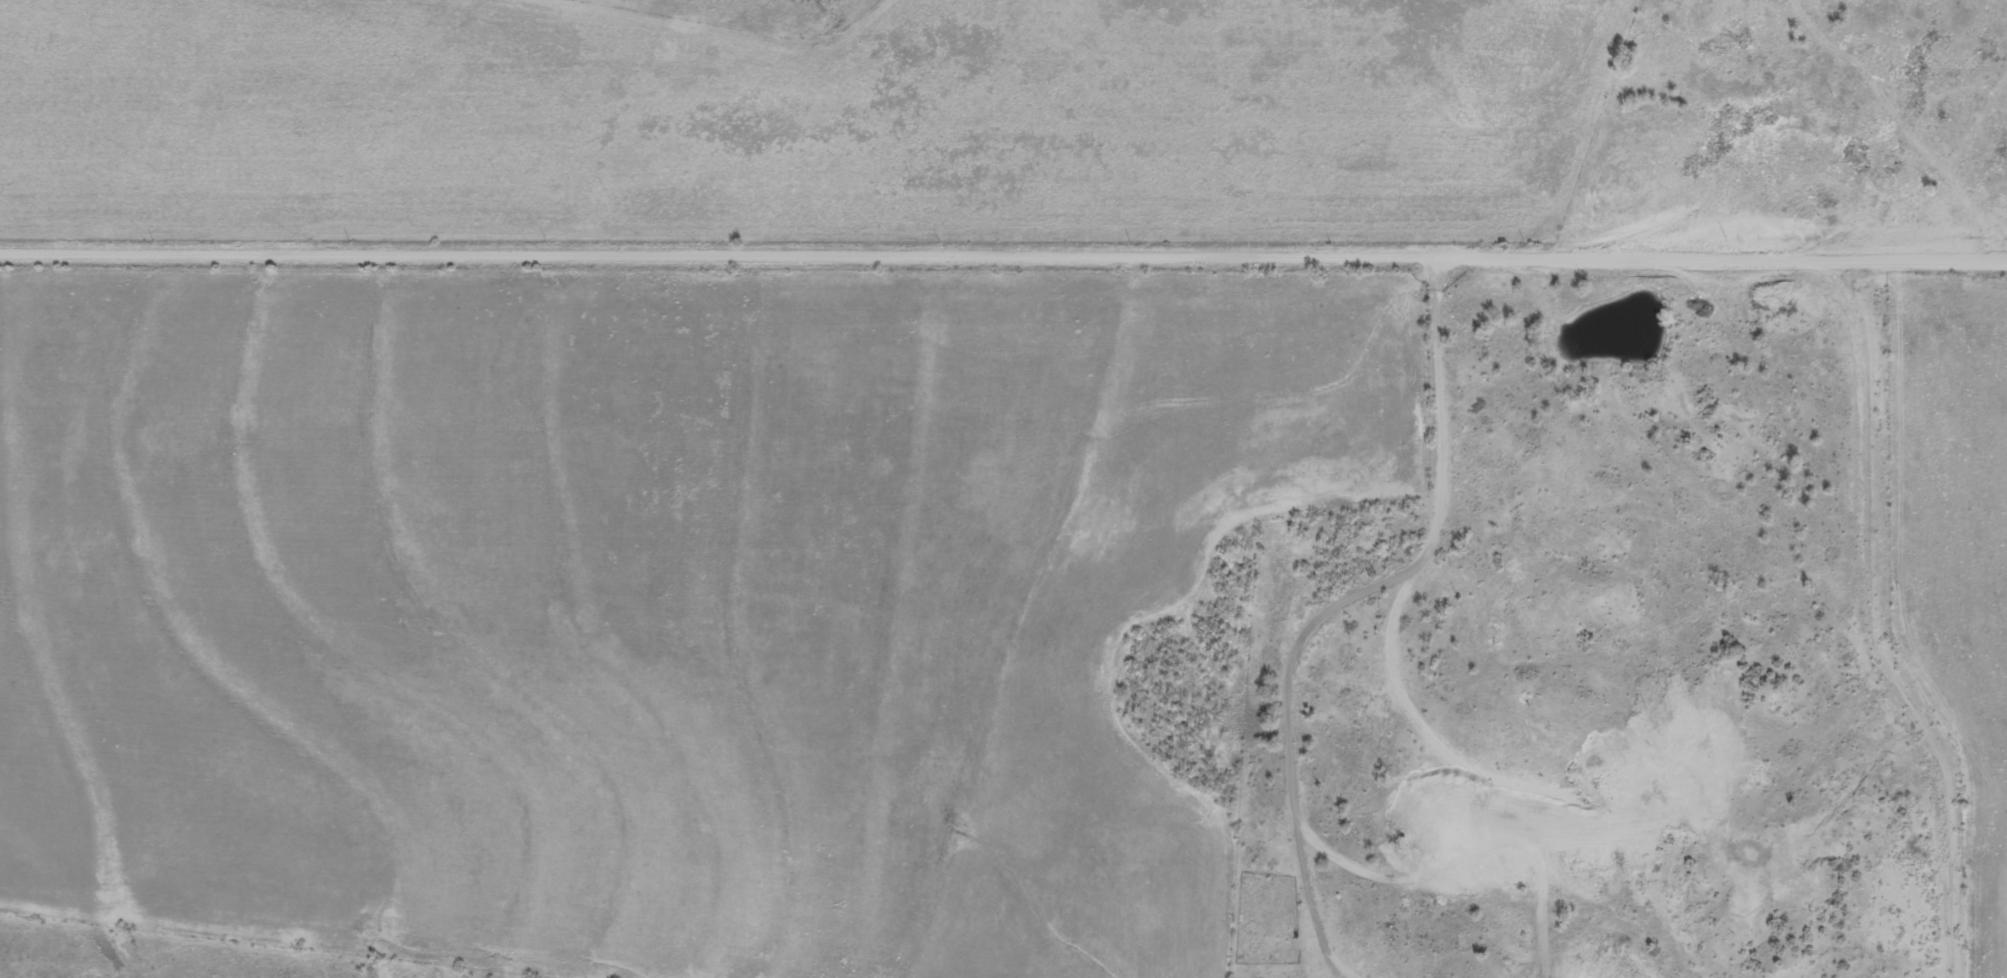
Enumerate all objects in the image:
road: (1003, 253)

